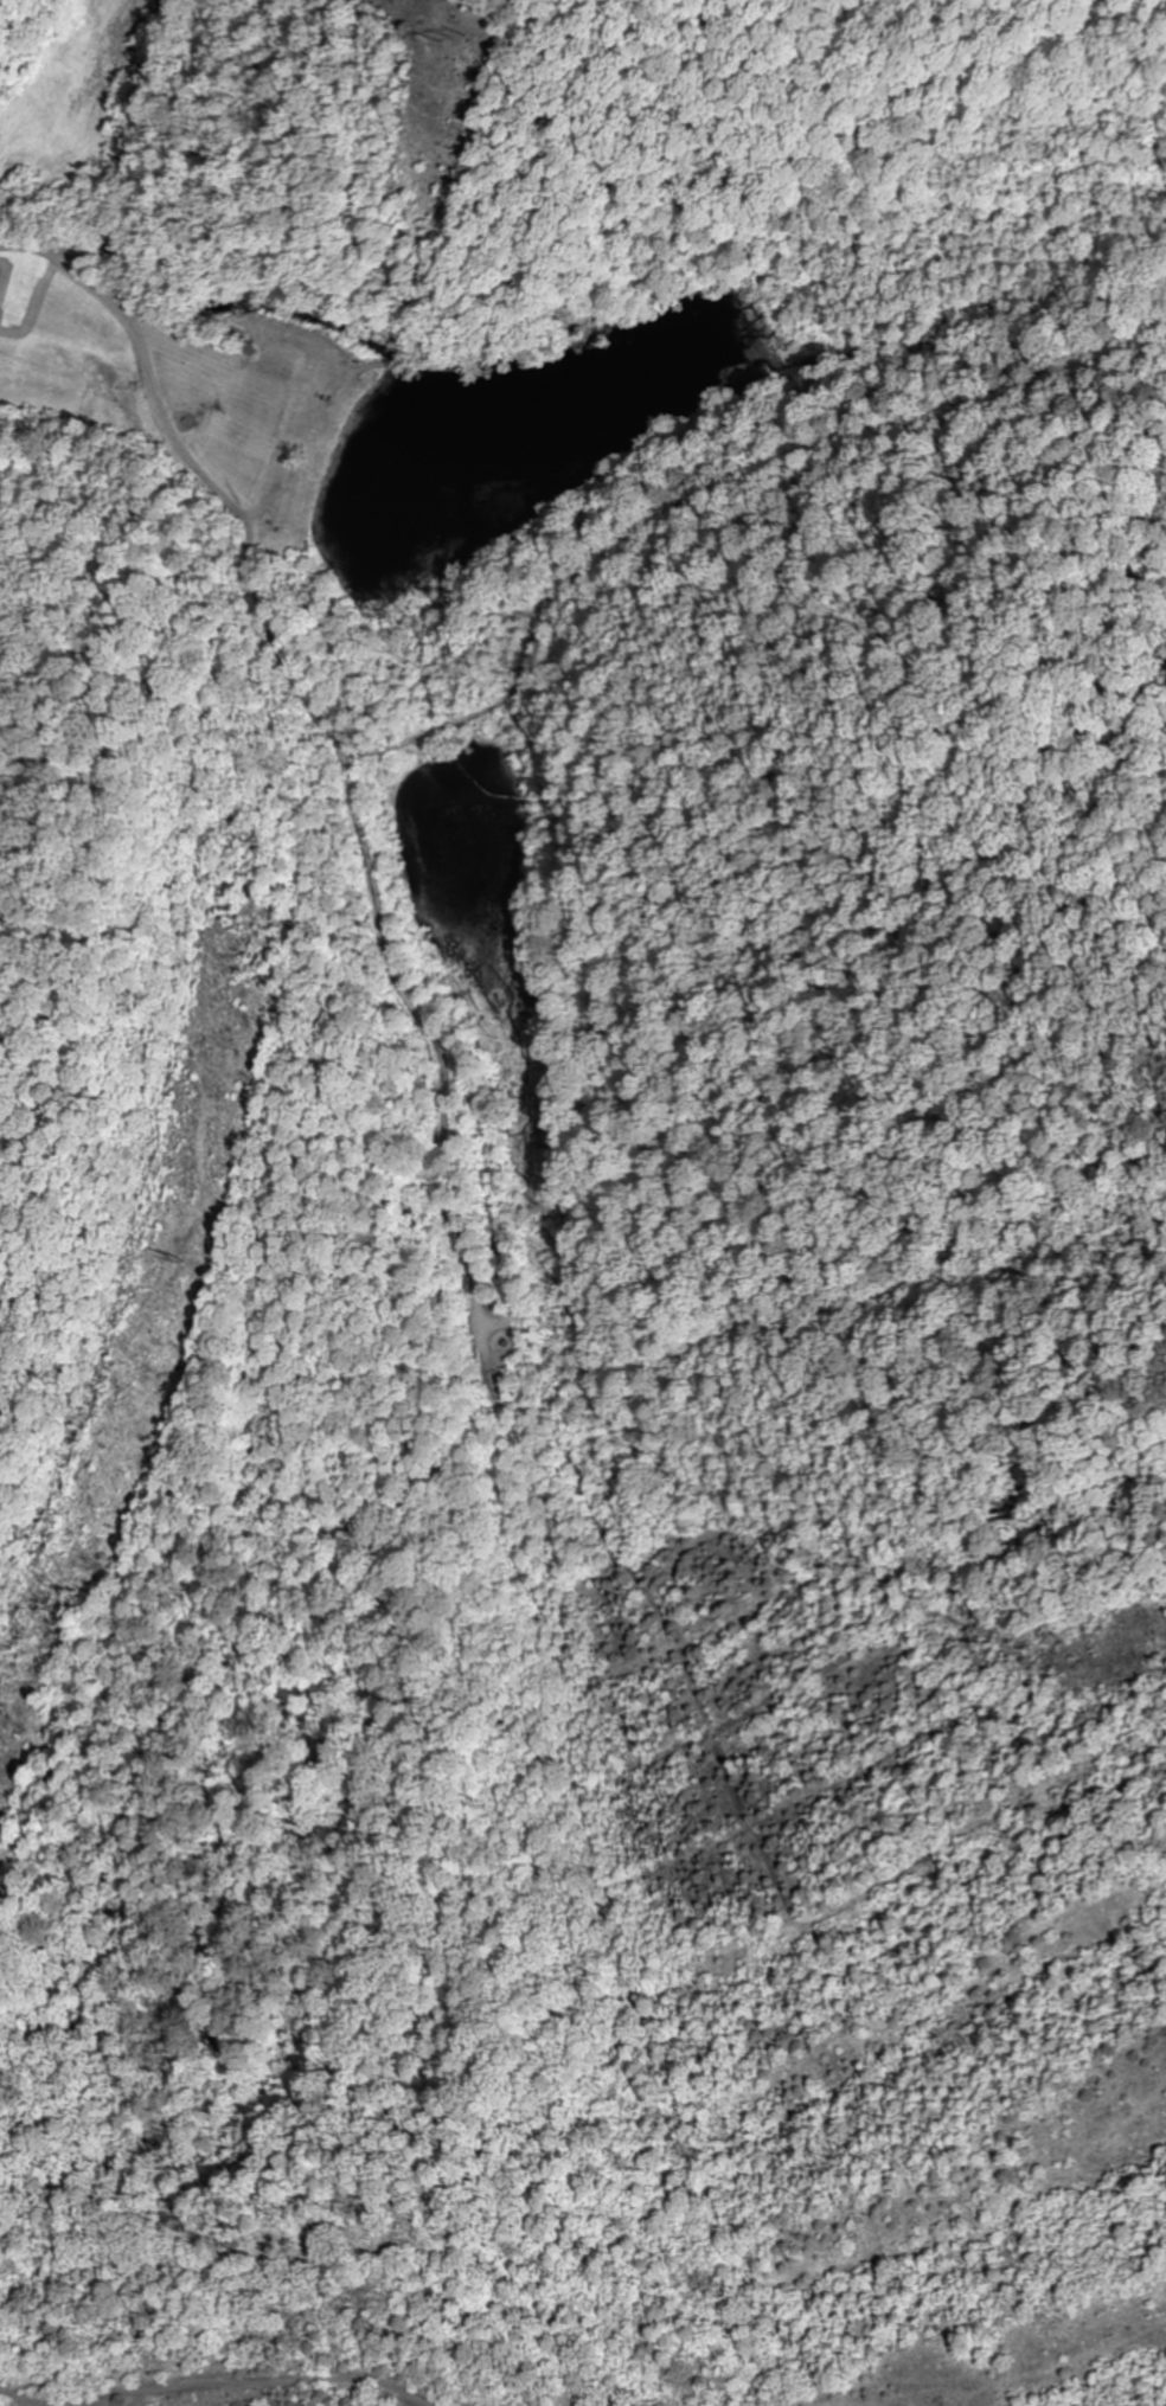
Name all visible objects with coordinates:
power tower: (455, 40)
power tower: (180, 1259)

